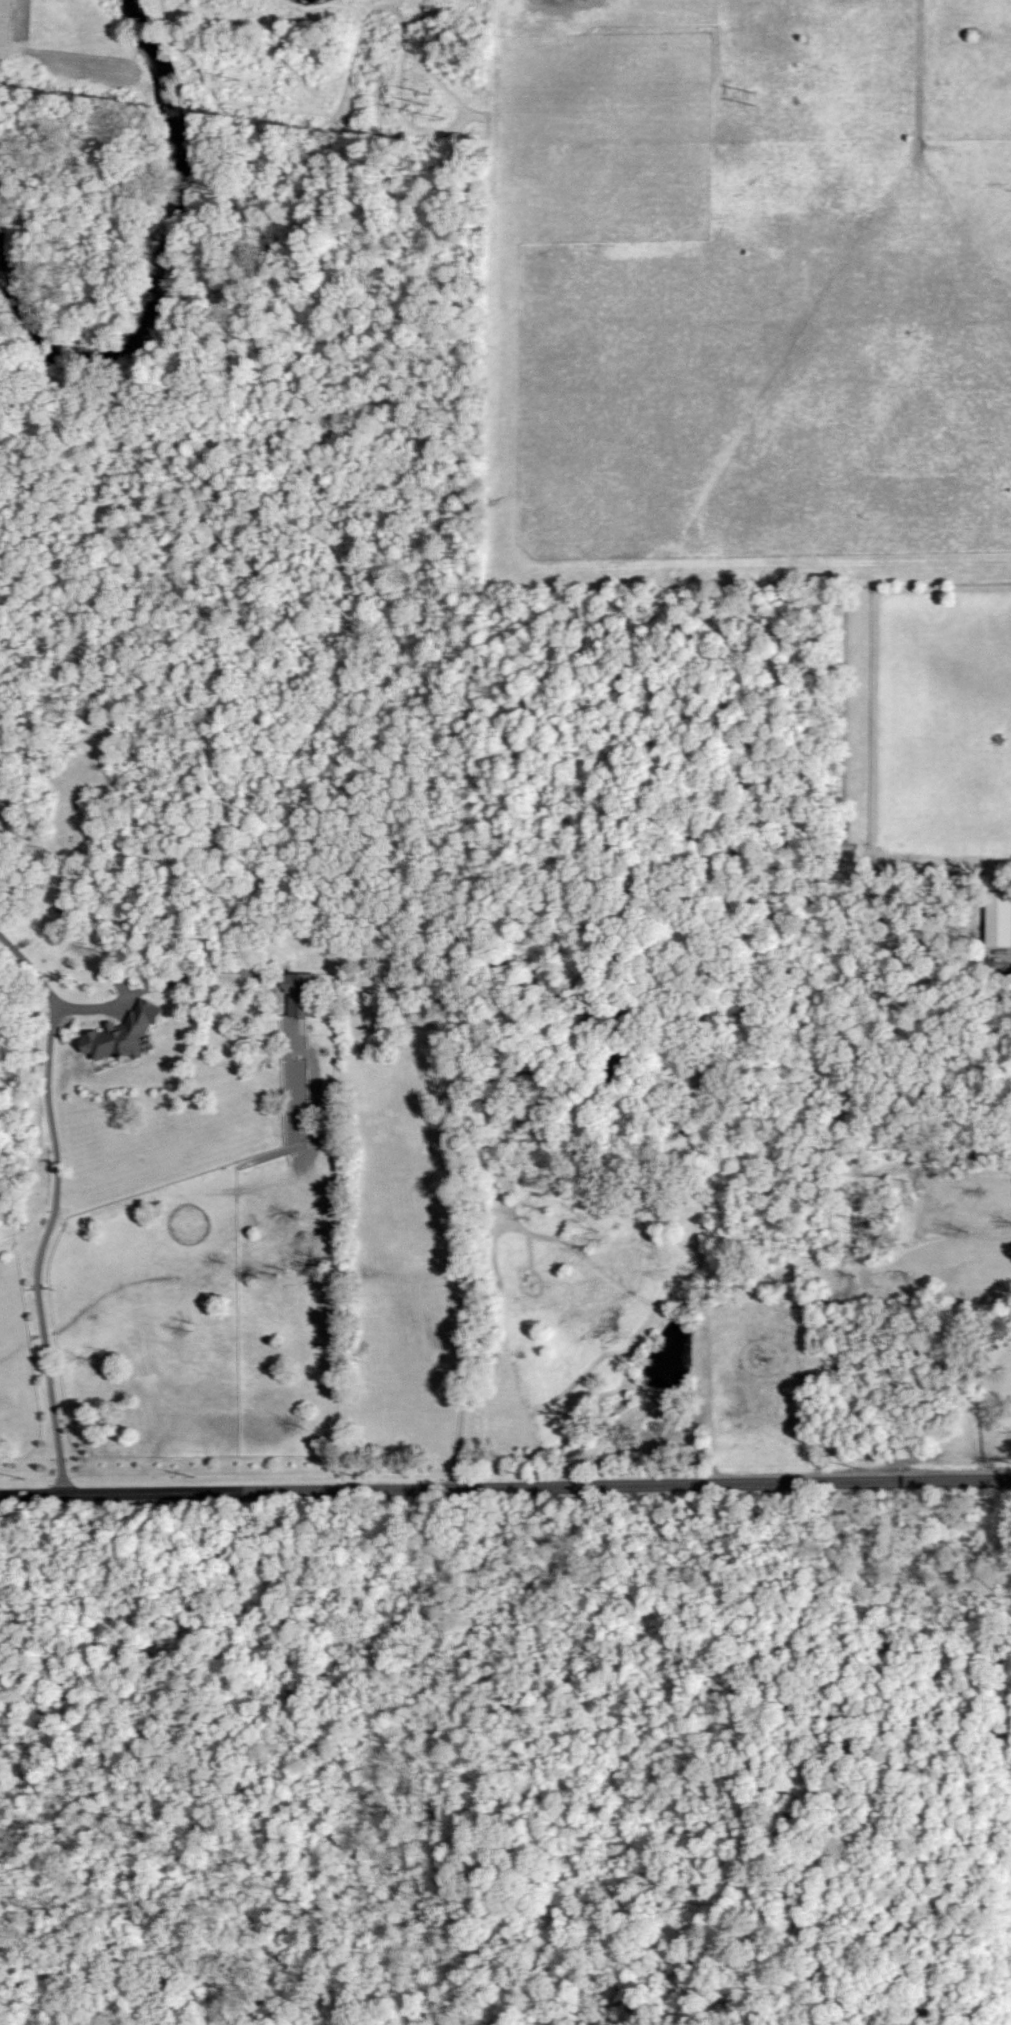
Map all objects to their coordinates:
power tower: (755, 99)
power tower: (430, 102)
building: (998, 919)
building: (299, 994)
building: (126, 1033)
road: (48, 1220)
road: (457, 1222)
road: (505, 1488)

